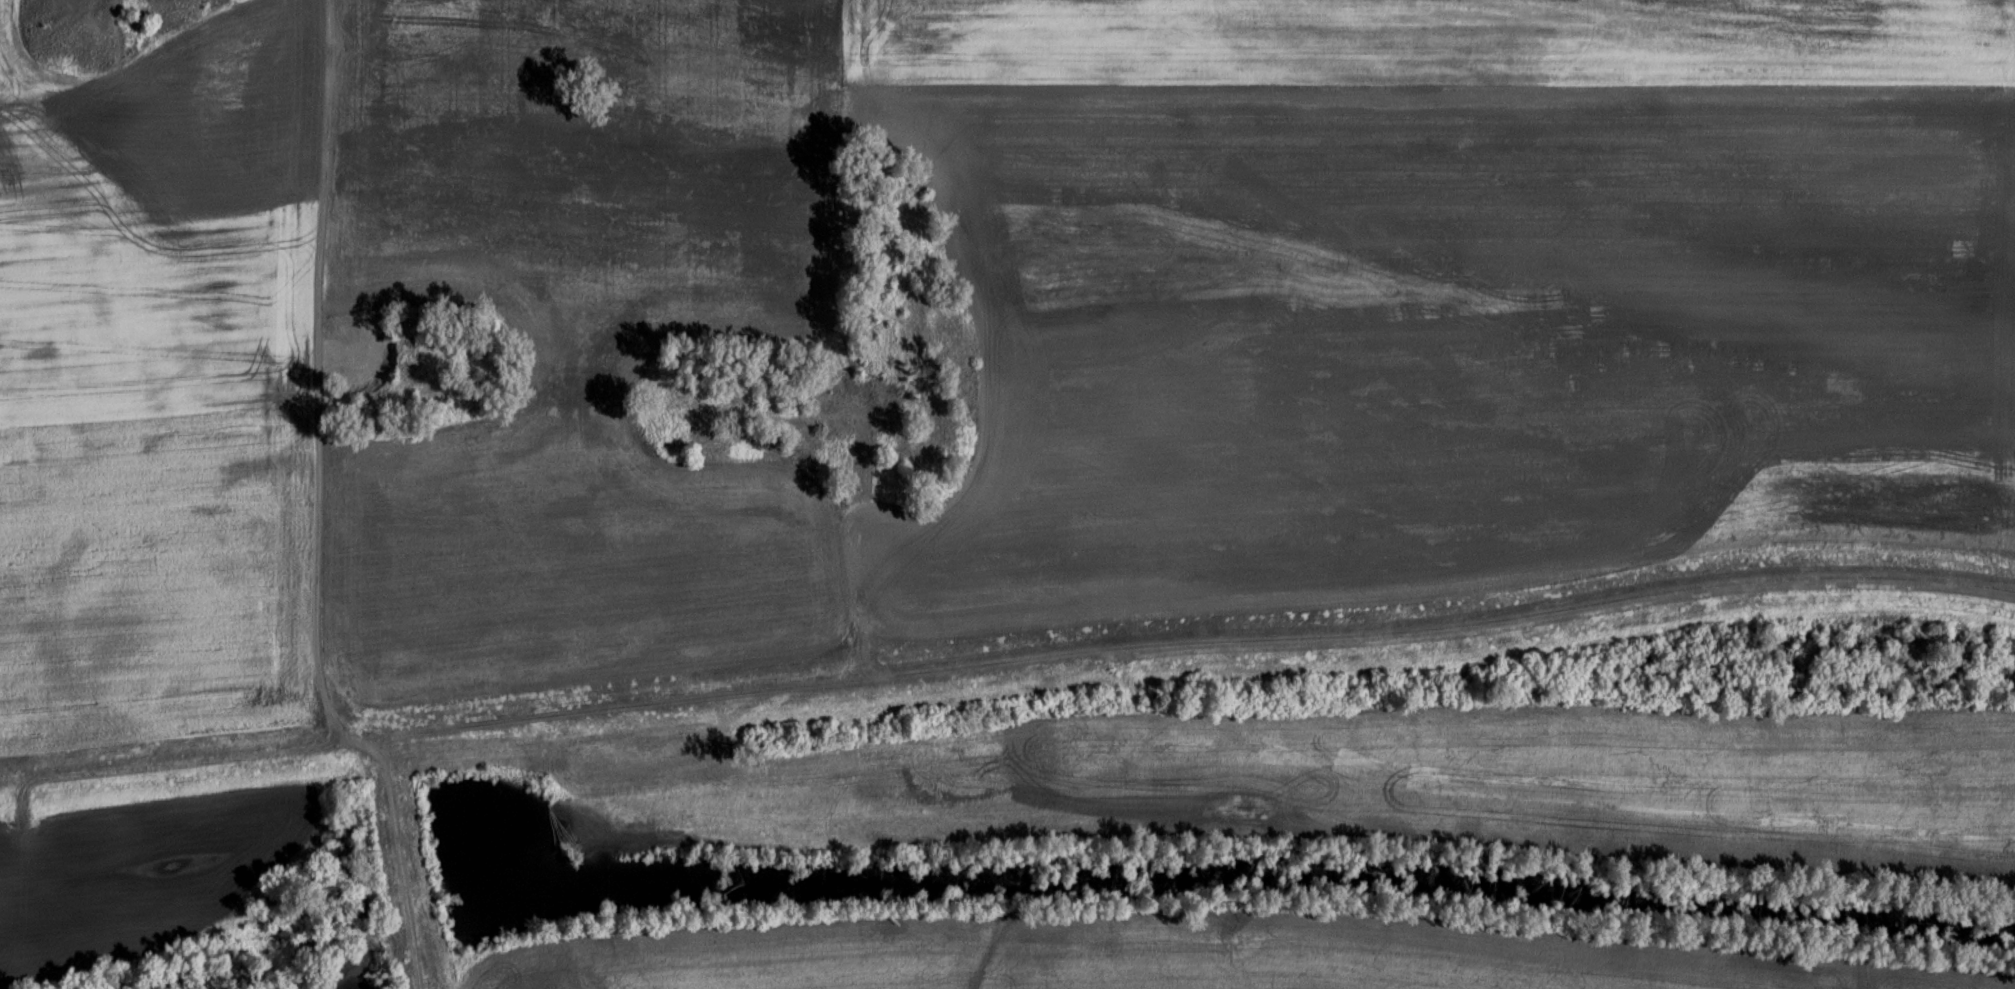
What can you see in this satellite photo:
road: (12, 59)
road: (27, 59)
road: (378, 340)
road: (318, 376)
road: (1006, 664)
road: (397, 862)

